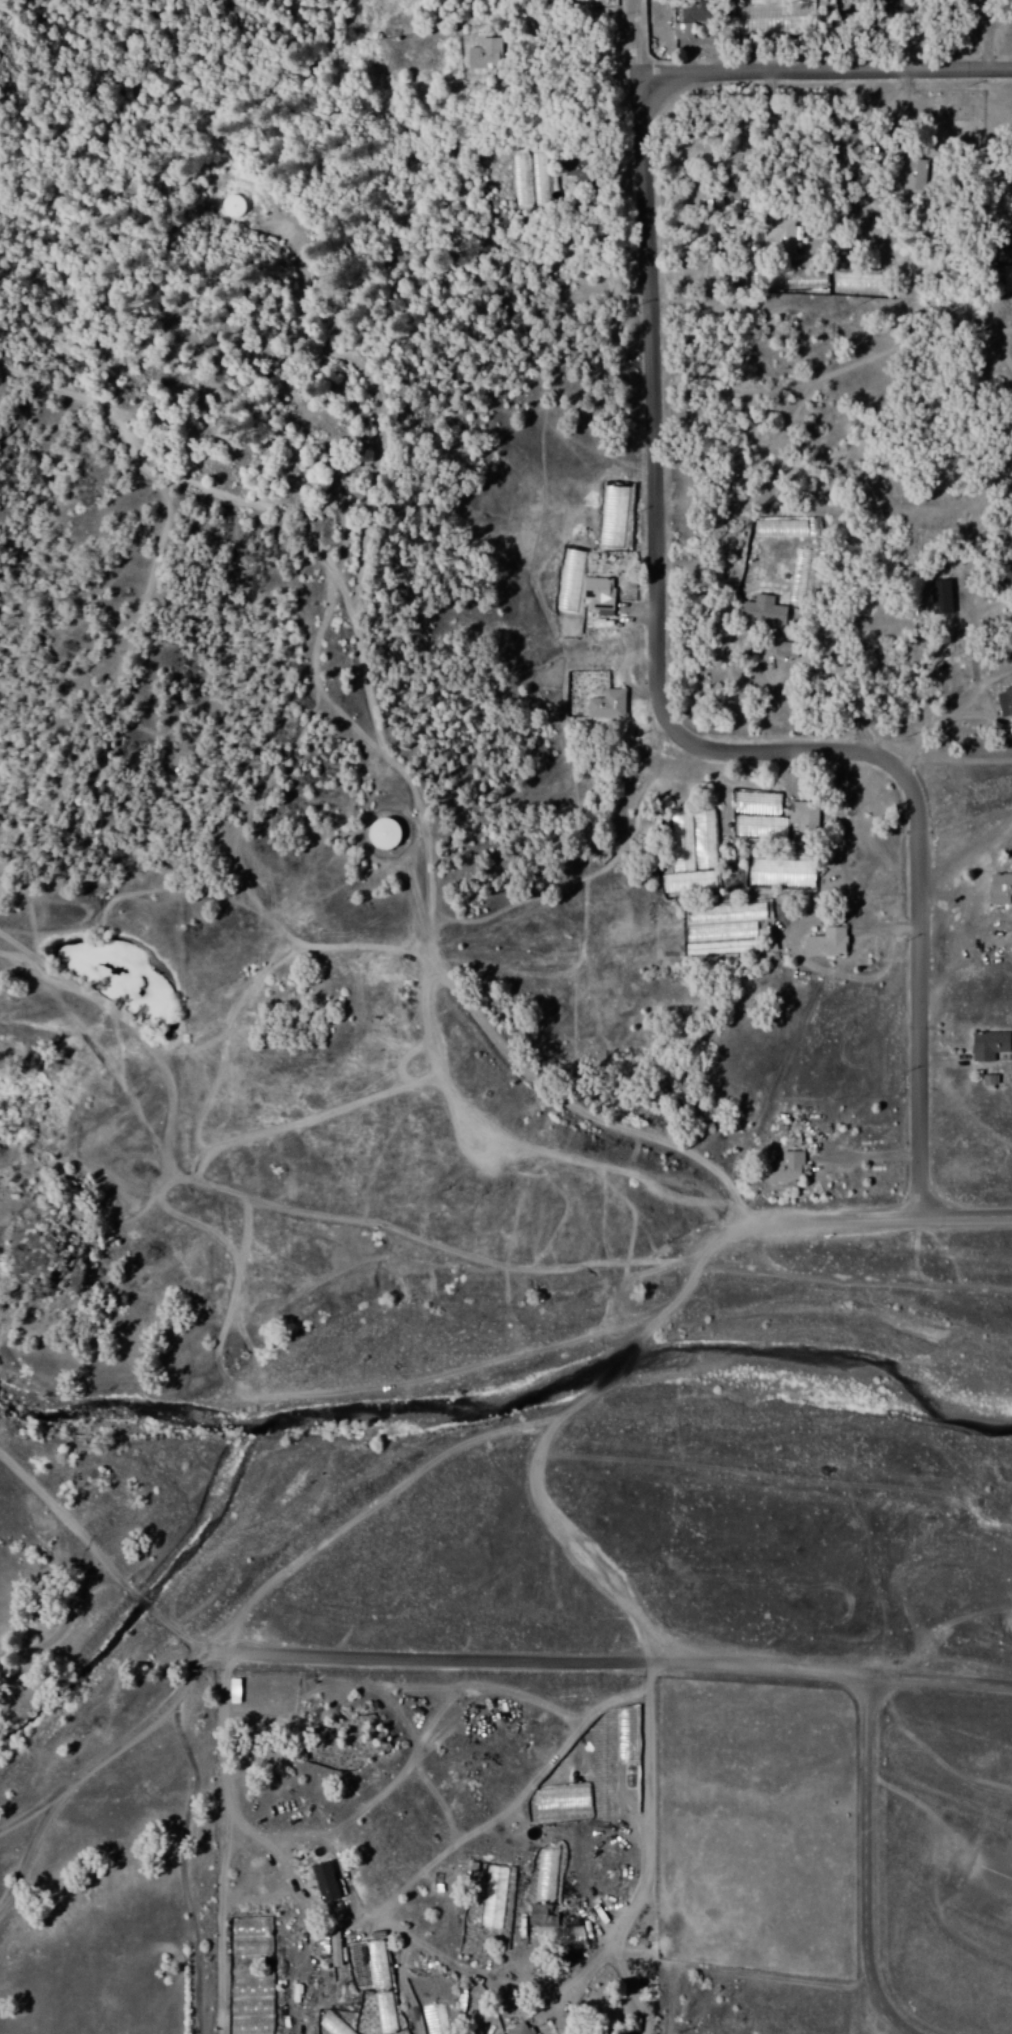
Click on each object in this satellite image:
building: (903, 6)
building: (696, 11)
building: (682, 31)
road: (634, 50)
building: (484, 54)
road: (821, 66)
building: (915, 175)
building: (233, 206)
building: (782, 230)
building: (877, 230)
building: (599, 594)
building: (943, 597)
building: (764, 611)
building: (788, 649)
building: (1005, 701)
building: (606, 705)
road: (704, 741)
road: (393, 765)
building: (805, 818)
building: (385, 833)
building: (1000, 888)
building: (826, 943)
building: (990, 1045)
road: (169, 1054)
building: (990, 1082)
building: (789, 1168)
road: (638, 1259)
road: (551, 1451)
road: (288, 1657)
road: (831, 1669)
road: (873, 1856)
airport: (950, 1868)
airport runway: (992, 1872)
building: (327, 1881)
building: (492, 1896)
building: (544, 1915)
building: (335, 1948)
building: (519, 2029)

